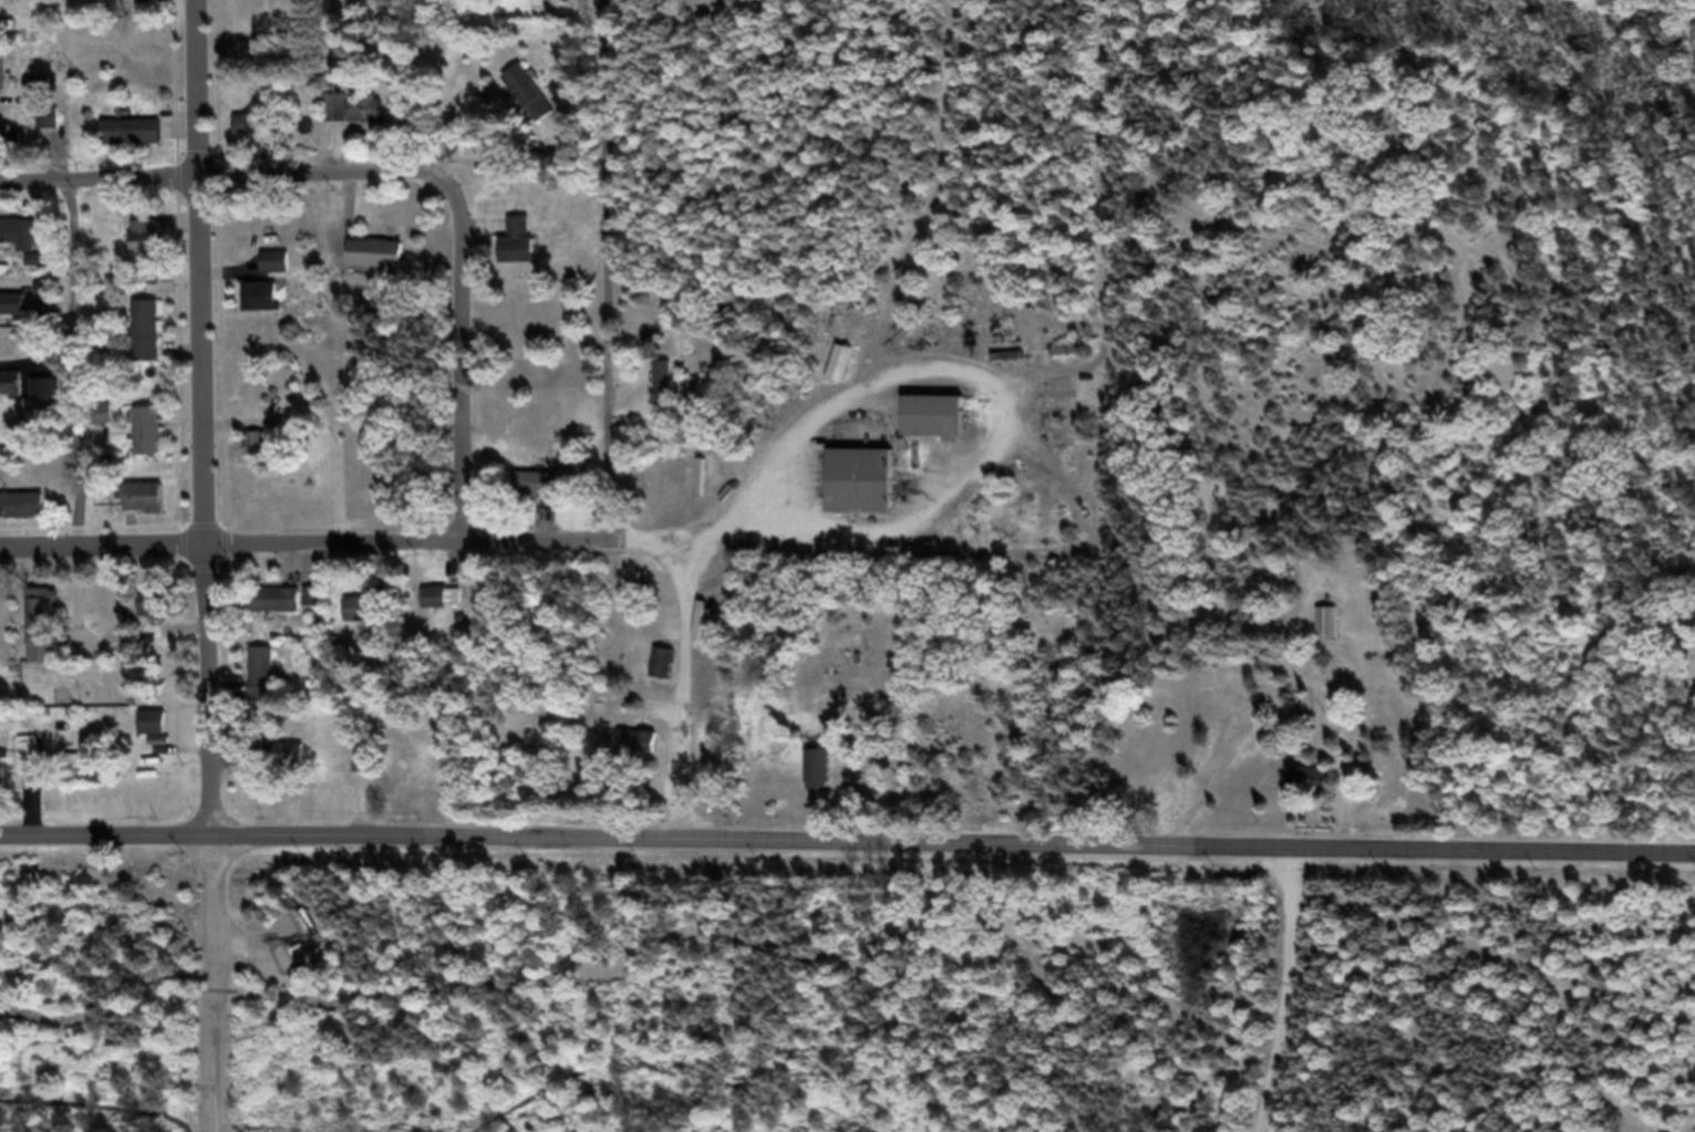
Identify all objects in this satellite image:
building: (10, 35)
building: (8, 81)
building: (535, 104)
building: (340, 111)
building: (371, 118)
building: (255, 137)
building: (139, 142)
road: (230, 186)
building: (23, 242)
building: (152, 251)
building: (525, 252)
building: (383, 263)
building: (281, 272)
road: (461, 273)
building: (268, 307)
building: (17, 314)
building: (153, 341)
building: (1014, 367)
road: (79, 373)
building: (669, 386)
building: (13, 394)
building: (51, 399)
road: (624, 413)
road: (209, 422)
building: (943, 427)
building: (155, 440)
building: (263, 456)
building: (869, 491)
building: (541, 496)
building: (151, 508)
building: (25, 516)
road: (313, 551)
building: (440, 606)
building: (281, 611)
building: (161, 616)
building: (371, 617)
building: (1332, 633)
building: (1689, 633)
building: (49, 643)
building: (668, 669)
building: (268, 683)
building: (158, 734)
building: (643, 751)
building: (33, 768)
building: (371, 768)
building: (825, 780)
building: (6, 785)
building: (1316, 789)
road: (847, 850)
building: (360, 939)
road: (215, 988)

